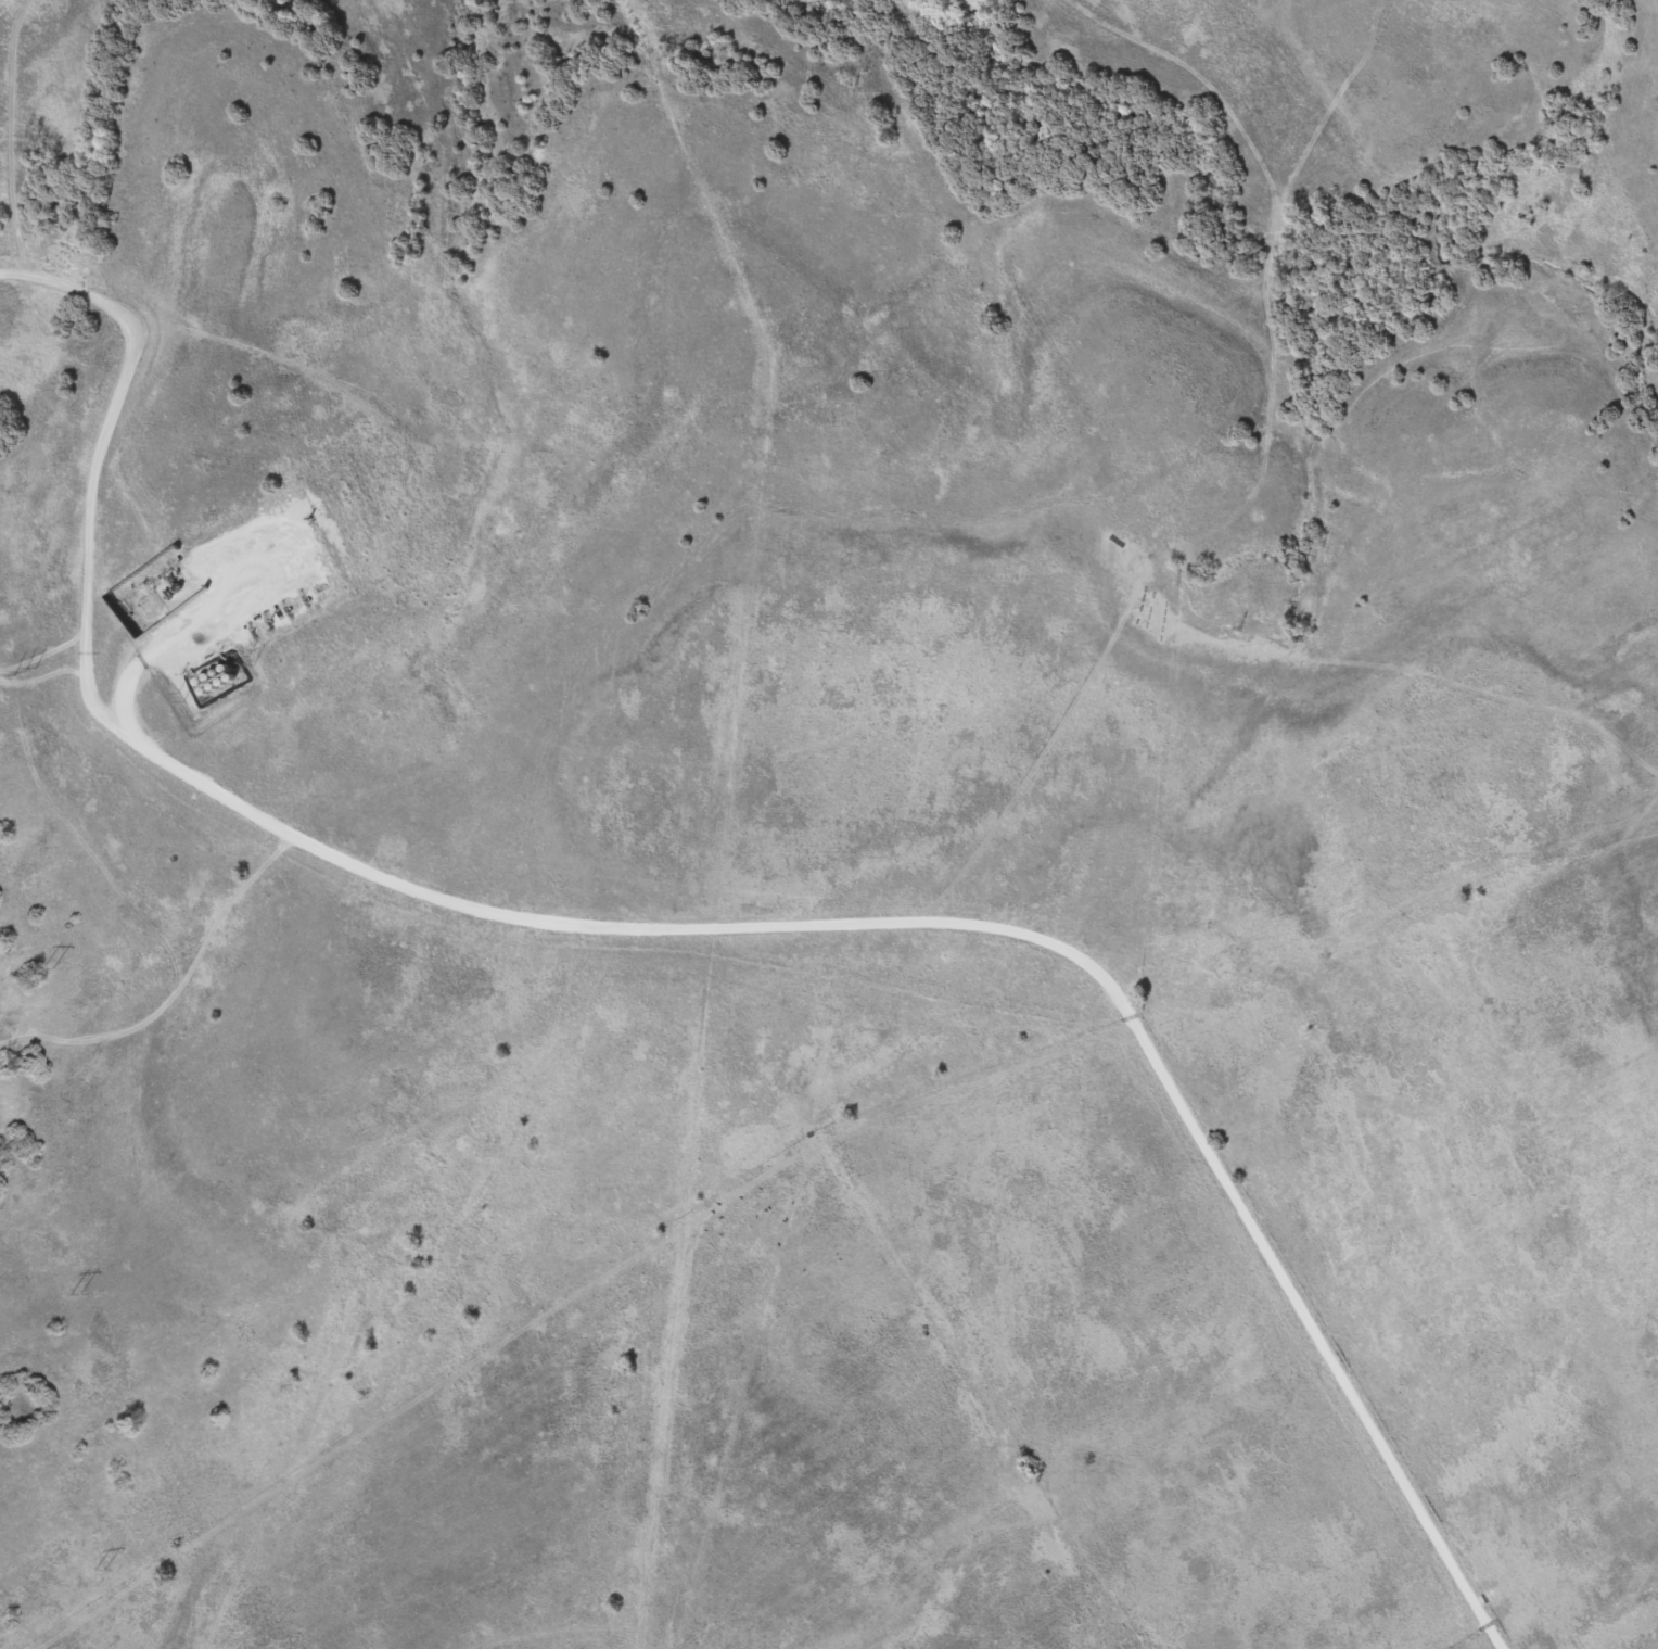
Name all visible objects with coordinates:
road: (702, 921)

